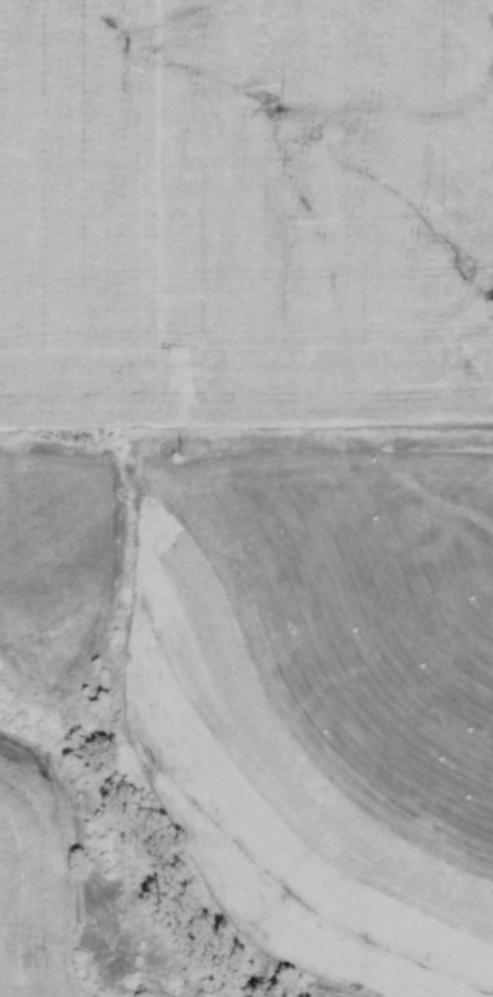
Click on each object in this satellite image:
power tower: (181, 450)

